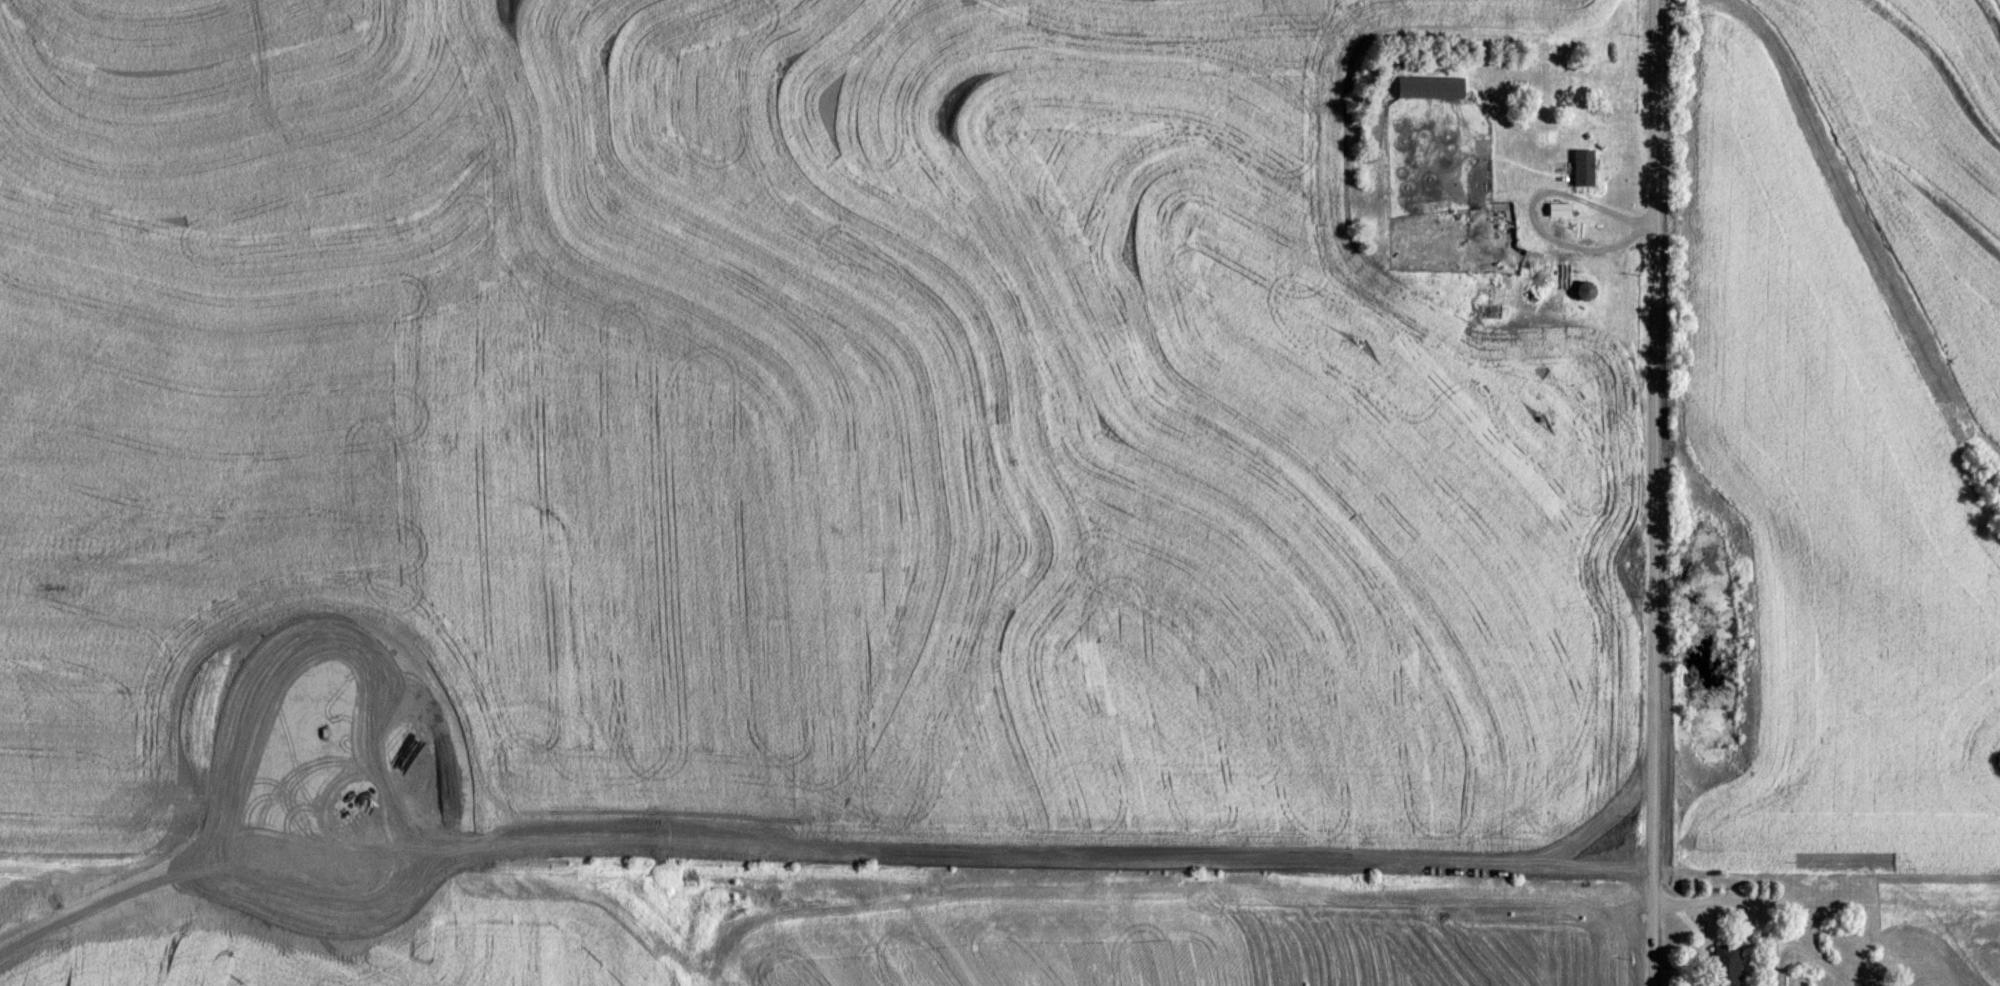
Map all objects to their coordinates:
building: (1433, 86)
building: (1586, 166)
building: (1565, 276)
building: (1587, 289)
road: (1653, 493)
wind turbine: (320, 738)
building: (1729, 964)

